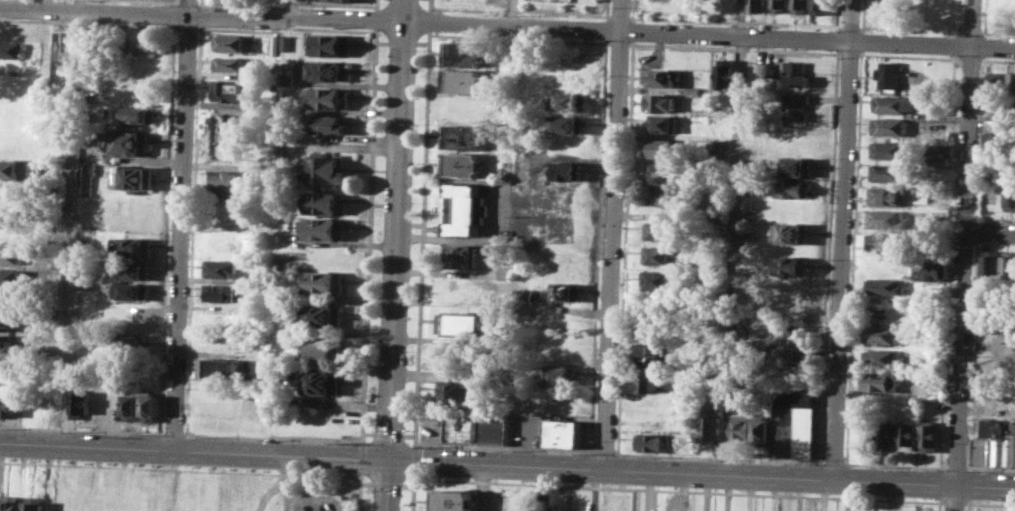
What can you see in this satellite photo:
building: (342, 0)
road: (375, 4)
building: (757, 5)
building: (778, 6)
building: (800, 6)
building: (820, 6)
road: (188, 7)
road: (286, 8)
road: (93, 12)
road: (515, 12)
road: (375, 18)
road: (601, 29)
building: (286, 42)
building: (231, 43)
building: (138, 44)
building: (273, 44)
building: (64, 45)
building: (330, 45)
building: (12, 49)
building: (467, 53)
building: (229, 63)
building: (330, 71)
building: (726, 73)
building: (795, 73)
building: (888, 75)
building: (663, 77)
building: (765, 77)
building: (286, 79)
building: (466, 81)
building: (994, 87)
building: (1010, 87)
building: (694, 89)
building: (229, 90)
building: (330, 97)
building: (569, 102)
building: (661, 103)
building: (893, 103)
building: (795, 106)
building: (134, 114)
building: (330, 124)
building: (565, 124)
building: (664, 124)
building: (890, 126)
building: (464, 136)
building: (996, 138)
building: (131, 141)
building: (664, 148)
building: (888, 149)
building: (938, 152)
building: (462, 163)
building: (795, 167)
building: (17, 168)
building: (324, 169)
building: (508, 169)
building: (565, 170)
building: (887, 172)
building: (663, 173)
building: (227, 176)
building: (133, 177)
building: (87, 178)
building: (793, 188)
building: (719, 189)
building: (227, 193)
building: (887, 195)
building: (1008, 195)
building: (663, 196)
building: (326, 202)
building: (465, 209)
building: (885, 218)
road: (71, 227)
building: (324, 228)
building: (662, 230)
road: (990, 230)
building: (10, 232)
road: (180, 232)
building: (791, 232)
road: (614, 235)
road: (470, 237)
road: (734, 237)
road: (843, 239)
building: (745, 241)
building: (884, 242)
building: (131, 246)
building: (9, 254)
road: (395, 255)
building: (458, 255)
building: (662, 255)
road: (964, 255)
building: (696, 264)
building: (792, 265)
building: (992, 266)
building: (220, 267)
building: (1009, 267)
building: (132, 270)
building: (934, 270)
building: (505, 271)
building: (8, 276)
building: (658, 280)
building: (742, 280)
building: (323, 282)
building: (887, 285)
building: (129, 290)
building: (565, 290)
building: (223, 292)
building: (524, 296)
building: (322, 315)
building: (6, 322)
road: (364, 324)
building: (463, 324)
building: (655, 329)
building: (884, 333)
building: (127, 340)
building: (6, 343)
building: (322, 348)
building: (657, 353)
building: (790, 354)
building: (882, 357)
building: (5, 367)
building: (218, 368)
building: (559, 374)
building: (650, 380)
building: (320, 382)
building: (880, 382)
building: (456, 390)
building: (79, 403)
building: (130, 406)
building: (7, 407)
building: (148, 407)
building: (216, 417)
road: (429, 418)
building: (795, 421)
building: (474, 426)
building: (740, 426)
road: (79, 429)
building: (711, 429)
street lamp: (71, 430)
parking lot: (523, 430)
building: (761, 431)
road: (367, 432)
street lamp: (140, 433)
road: (387, 433)
building: (562, 433)
building: (886, 433)
road: (170, 434)
building: (906, 434)
building: (929, 435)
street lamp: (204, 436)
building: (649, 439)
building: (989, 442)
road: (361, 443)
road: (414, 445)
road: (492, 447)
building: (1010, 448)
road: (603, 451)
road: (718, 456)
road: (360, 458)
traffic signals: (387, 459)
road: (413, 459)
road: (833, 461)
road: (894, 464)
road: (507, 465)
road: (955, 466)
road: (179, 469)
road: (990, 469)
road: (365, 483)
road: (385, 484)
road: (406, 485)
road: (678, 490)
road: (358, 491)
road: (412, 492)
building: (622, 497)
building: (454, 500)
road: (954, 502)
building: (10, 503)
building: (34, 503)
road: (989, 503)
road: (938, 506)
road: (968, 507)
building: (679, 509)
building: (773, 510)

